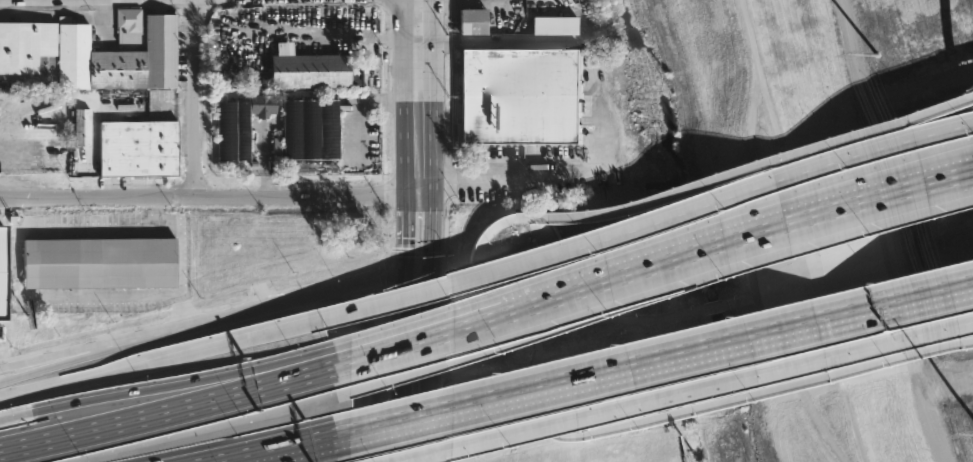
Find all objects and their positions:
road: (464, 2)
building: (473, 22)
building: (555, 25)
road: (351, 37)
building: (94, 53)
power tower: (877, 55)
building: (315, 71)
road: (810, 74)
road: (419, 93)
road: (189, 96)
building: (521, 97)
building: (239, 126)
building: (310, 129)
building: (80, 131)
building: (137, 149)
road: (761, 162)
road: (508, 181)
road: (209, 193)
road: (151, 210)
park: (853, 213)
road: (647, 222)
road: (403, 225)
road: (432, 225)
road: (139, 227)
road: (736, 232)
road: (887, 232)
road: (807, 246)
building: (98, 264)
traffic signals: (433, 267)
road: (419, 268)
traffic signals: (406, 269)
building: (0, 273)
road: (751, 274)
road: (55, 295)
road: (405, 305)
road: (643, 314)
road: (201, 323)
road: (475, 332)
road: (417, 335)
road: (432, 351)
road: (653, 357)
road: (161, 360)
road: (378, 360)
road: (40, 362)
road: (181, 386)
road: (777, 387)
road: (680, 390)
road: (187, 399)
road: (405, 402)
road: (15, 415)
road: (21, 442)
road: (273, 449)
road: (432, 449)

